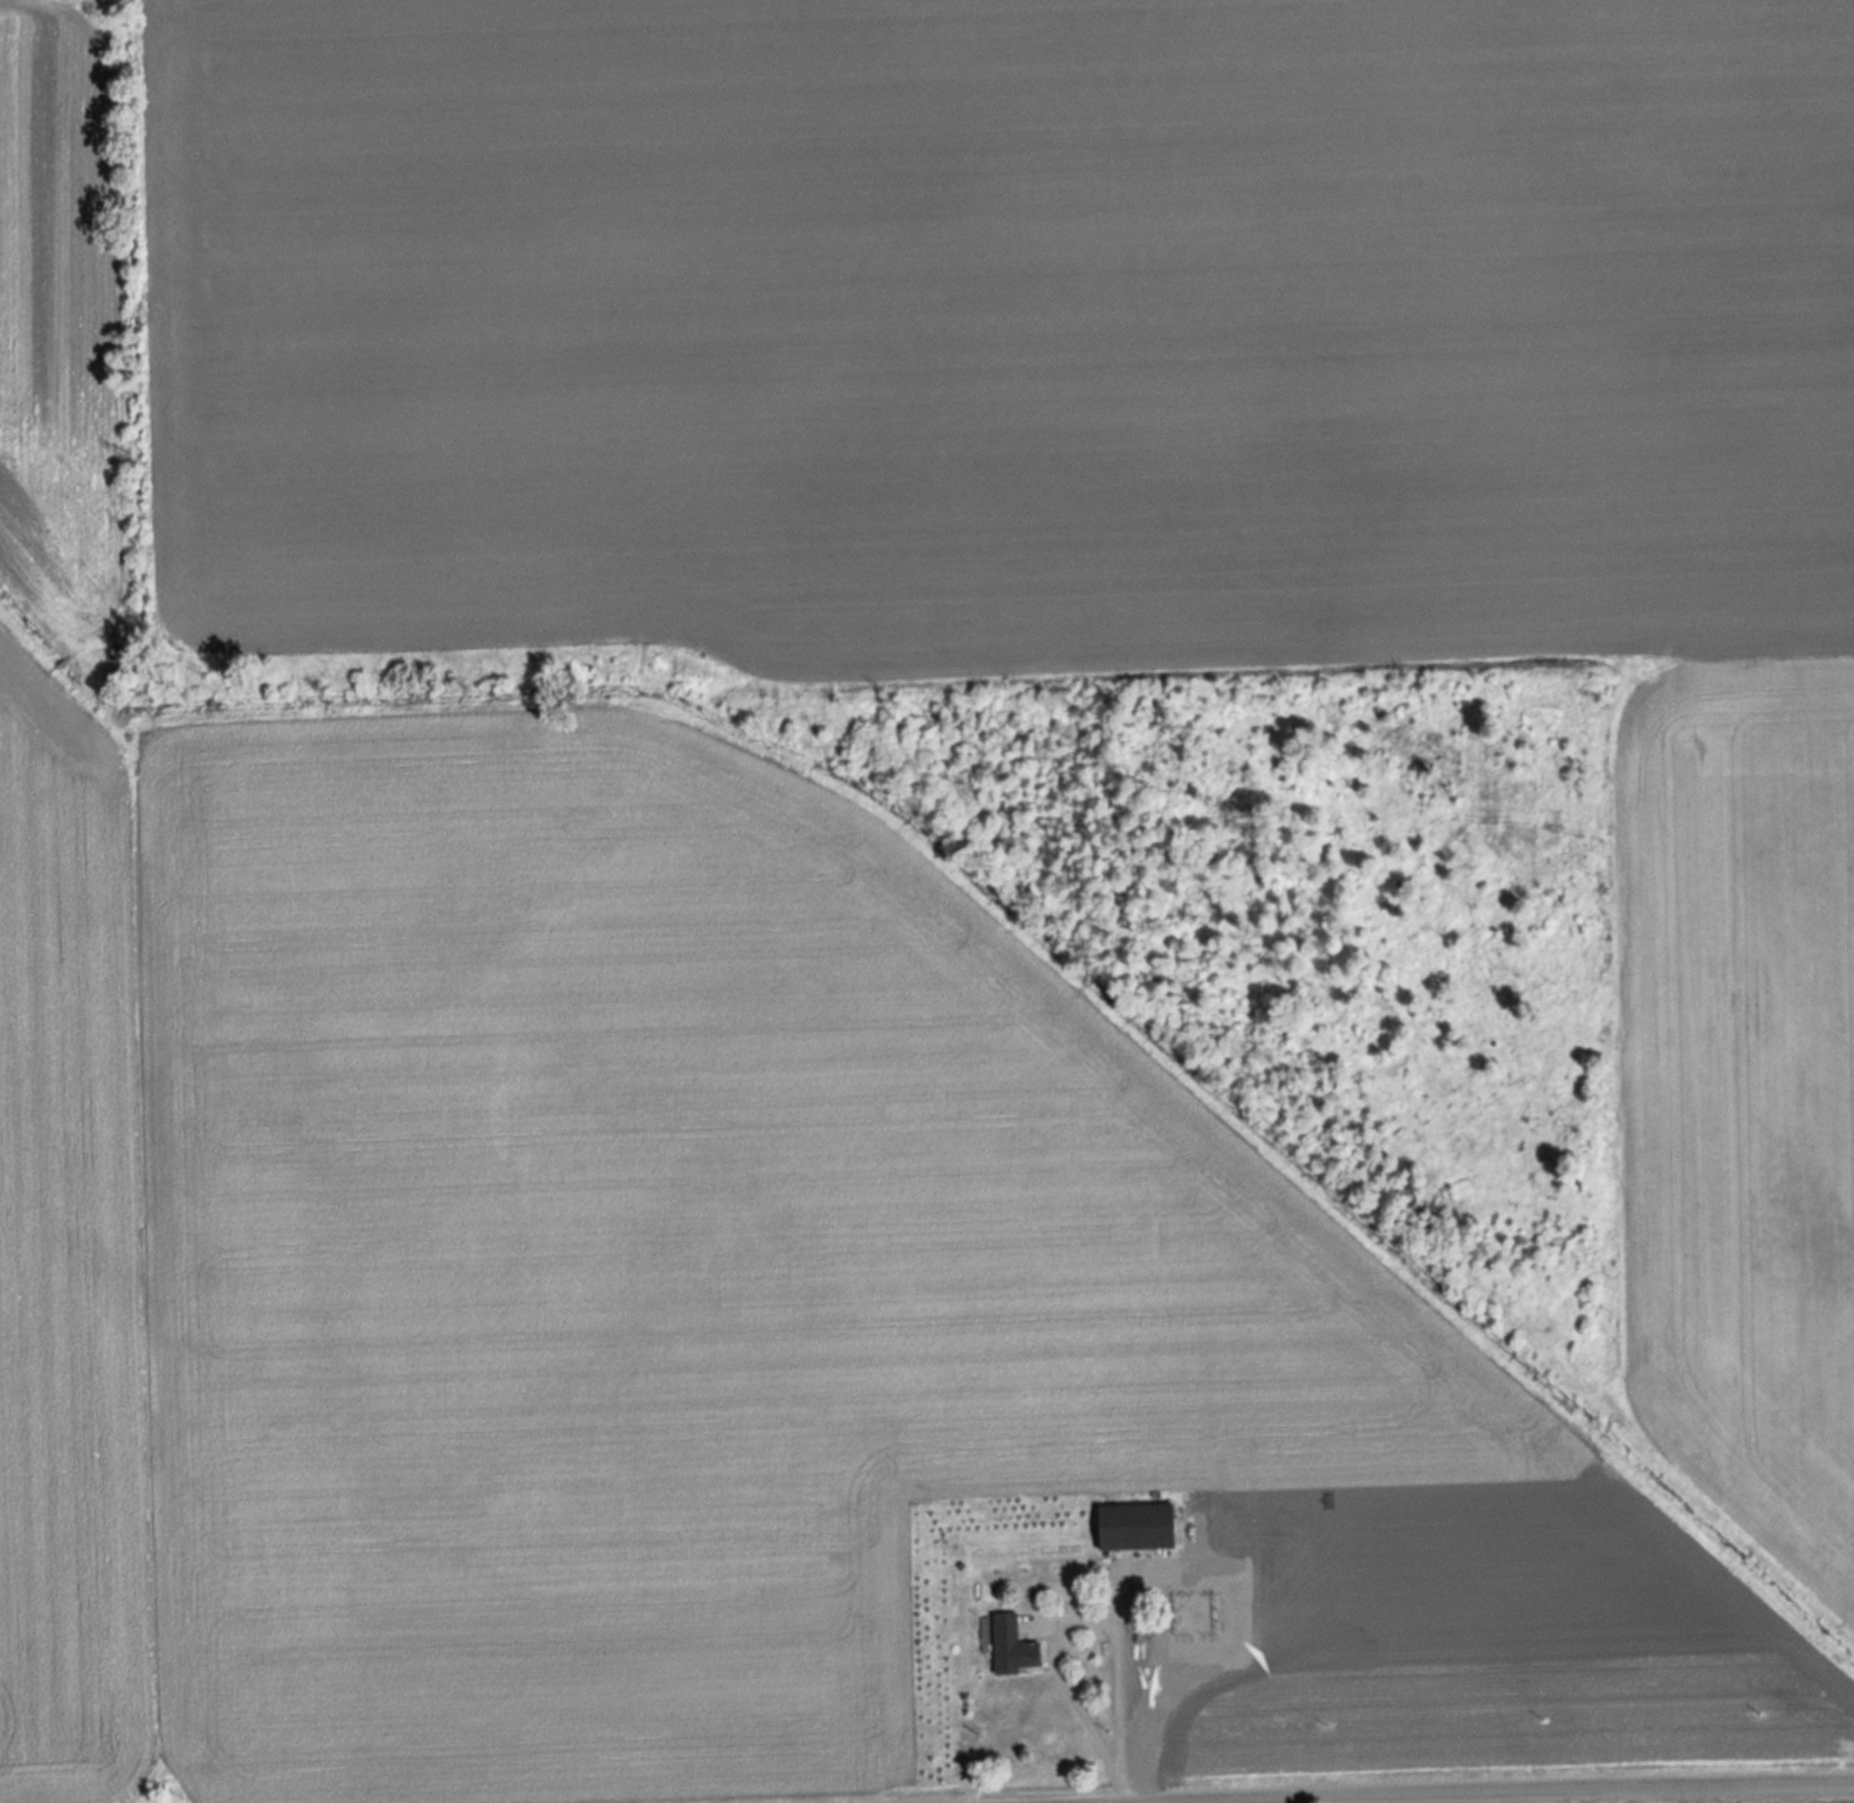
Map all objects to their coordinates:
building: (1131, 1524)
building: (1009, 1645)
road: (1499, 1791)

